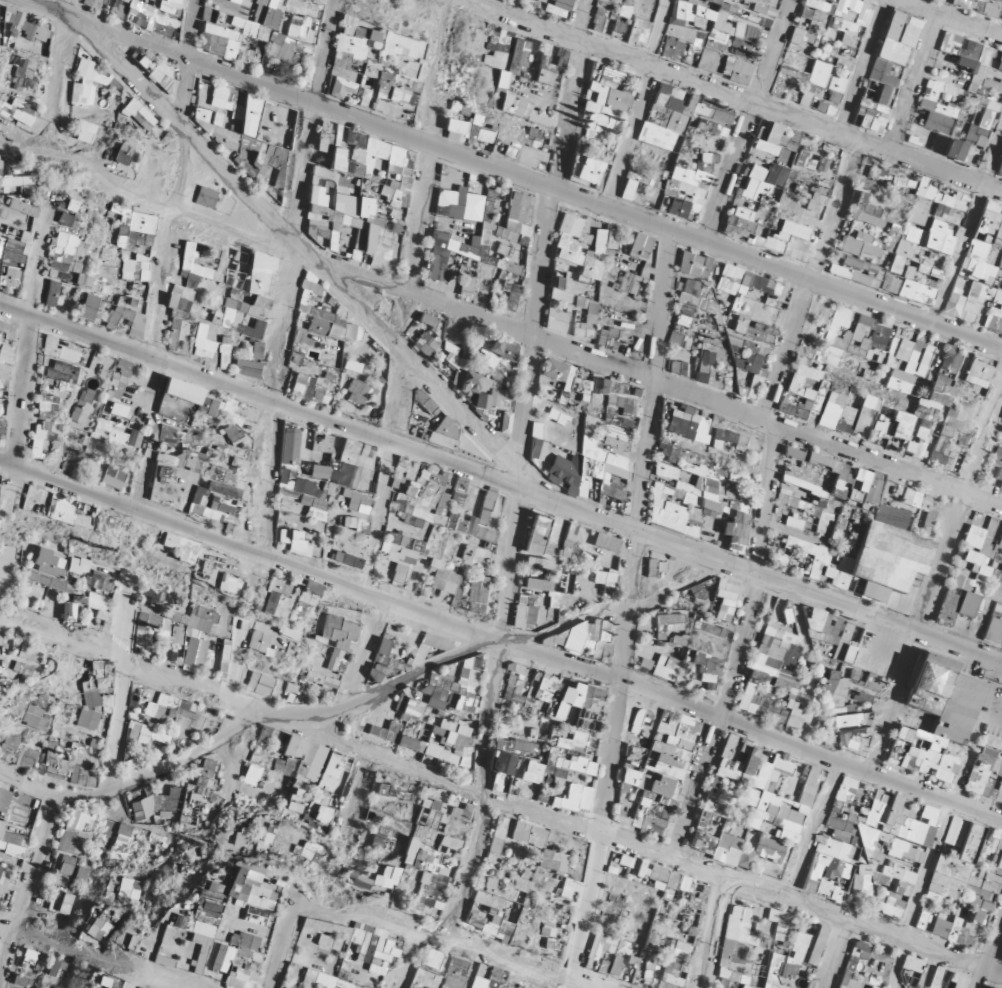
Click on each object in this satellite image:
building: (965, 3)
building: (993, 8)
road: (954, 17)
building: (894, 25)
building: (793, 66)
road: (913, 77)
building: (828, 79)
building: (883, 85)
building: (964, 95)
building: (1000, 168)
building: (981, 271)
road: (950, 802)

